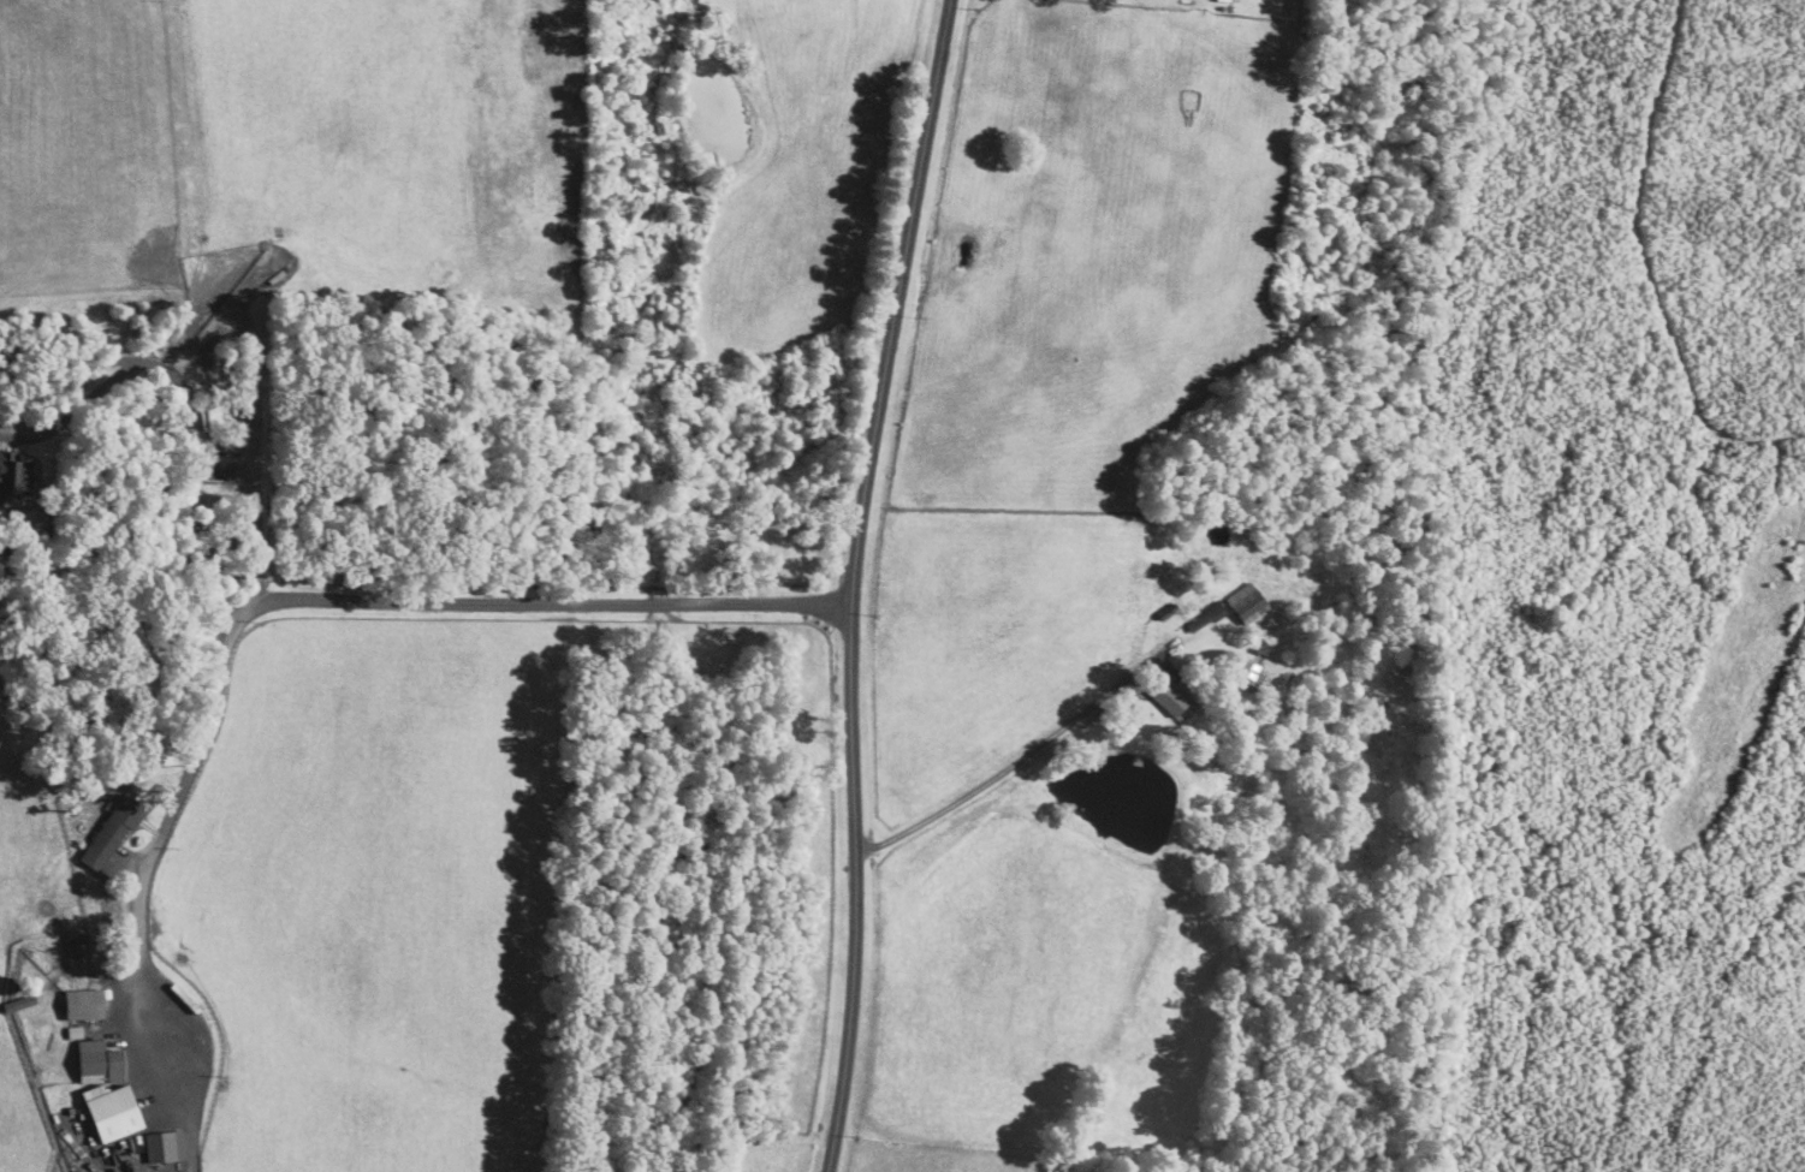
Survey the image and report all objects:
road: (189, 409)
building: (13, 476)
road: (855, 583)
road: (320, 599)
building: (1247, 602)
road: (1003, 769)
building: (112, 833)
building: (83, 1004)
building: (73, 1031)
building: (99, 1063)
building: (112, 1112)
building: (164, 1147)

